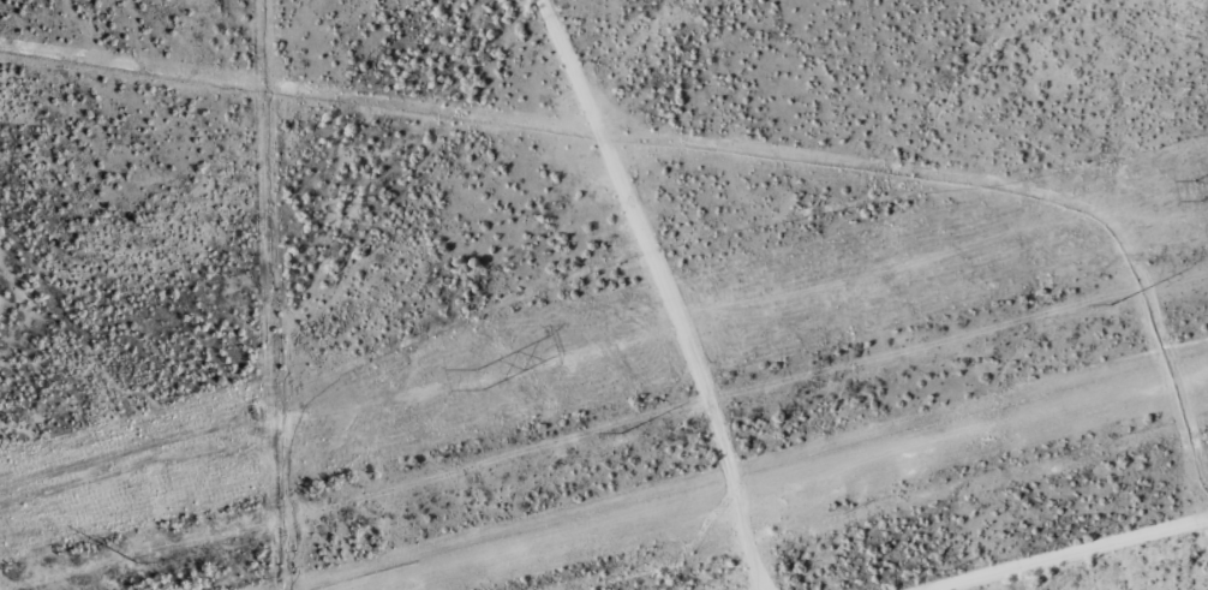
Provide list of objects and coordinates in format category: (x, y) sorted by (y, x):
power tower: (1200, 193)
road: (689, 285)
power tower: (1110, 303)
power tower: (486, 383)
power tower: (626, 434)
power tower: (136, 564)

